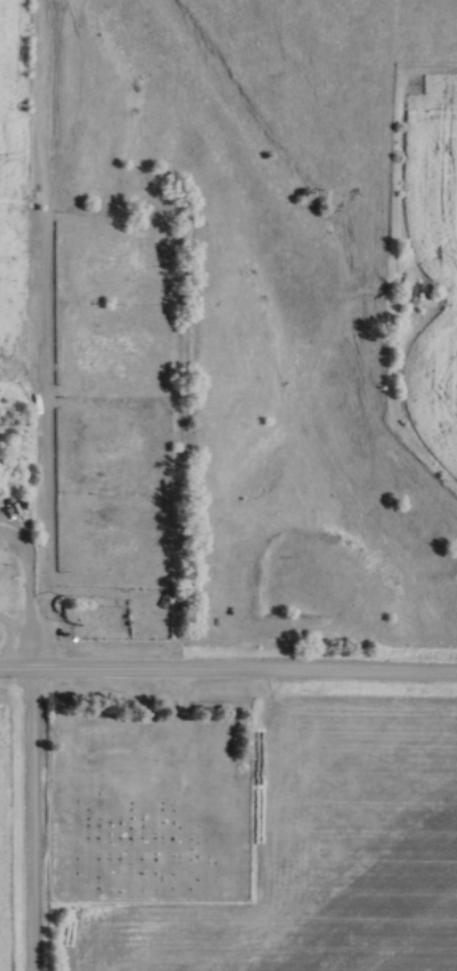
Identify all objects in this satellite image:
road: (11, 647)
road: (228, 675)
building: (235, 776)
road: (24, 822)

